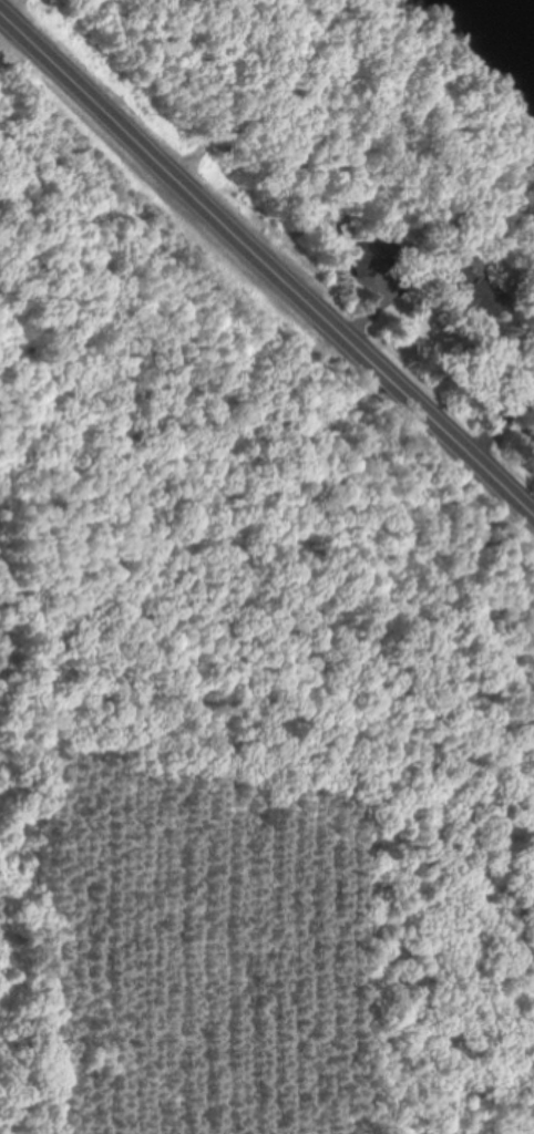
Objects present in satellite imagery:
building: (372, 256)
road: (268, 265)
building: (464, 285)
building: (524, 389)

